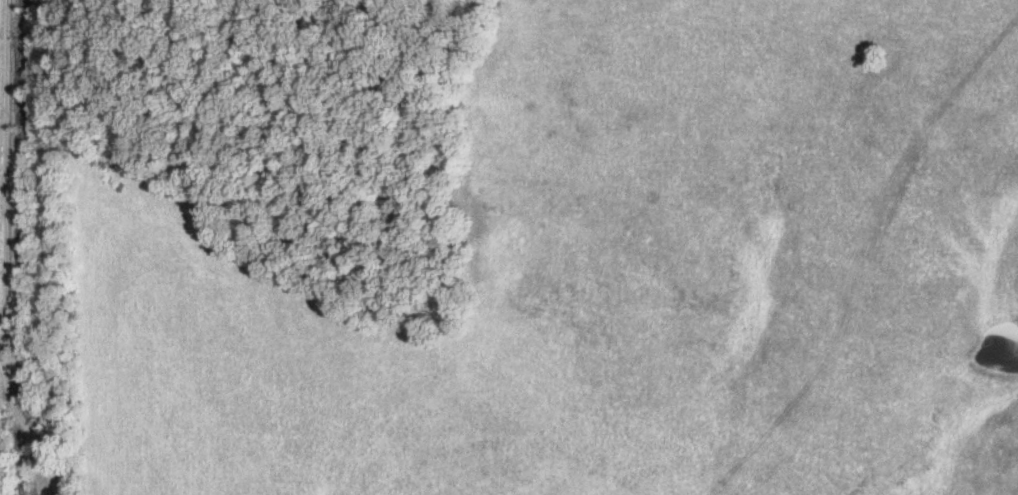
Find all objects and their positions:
road: (0, 155)
railway: (21, 247)
road: (42, 247)
road: (28, 431)

